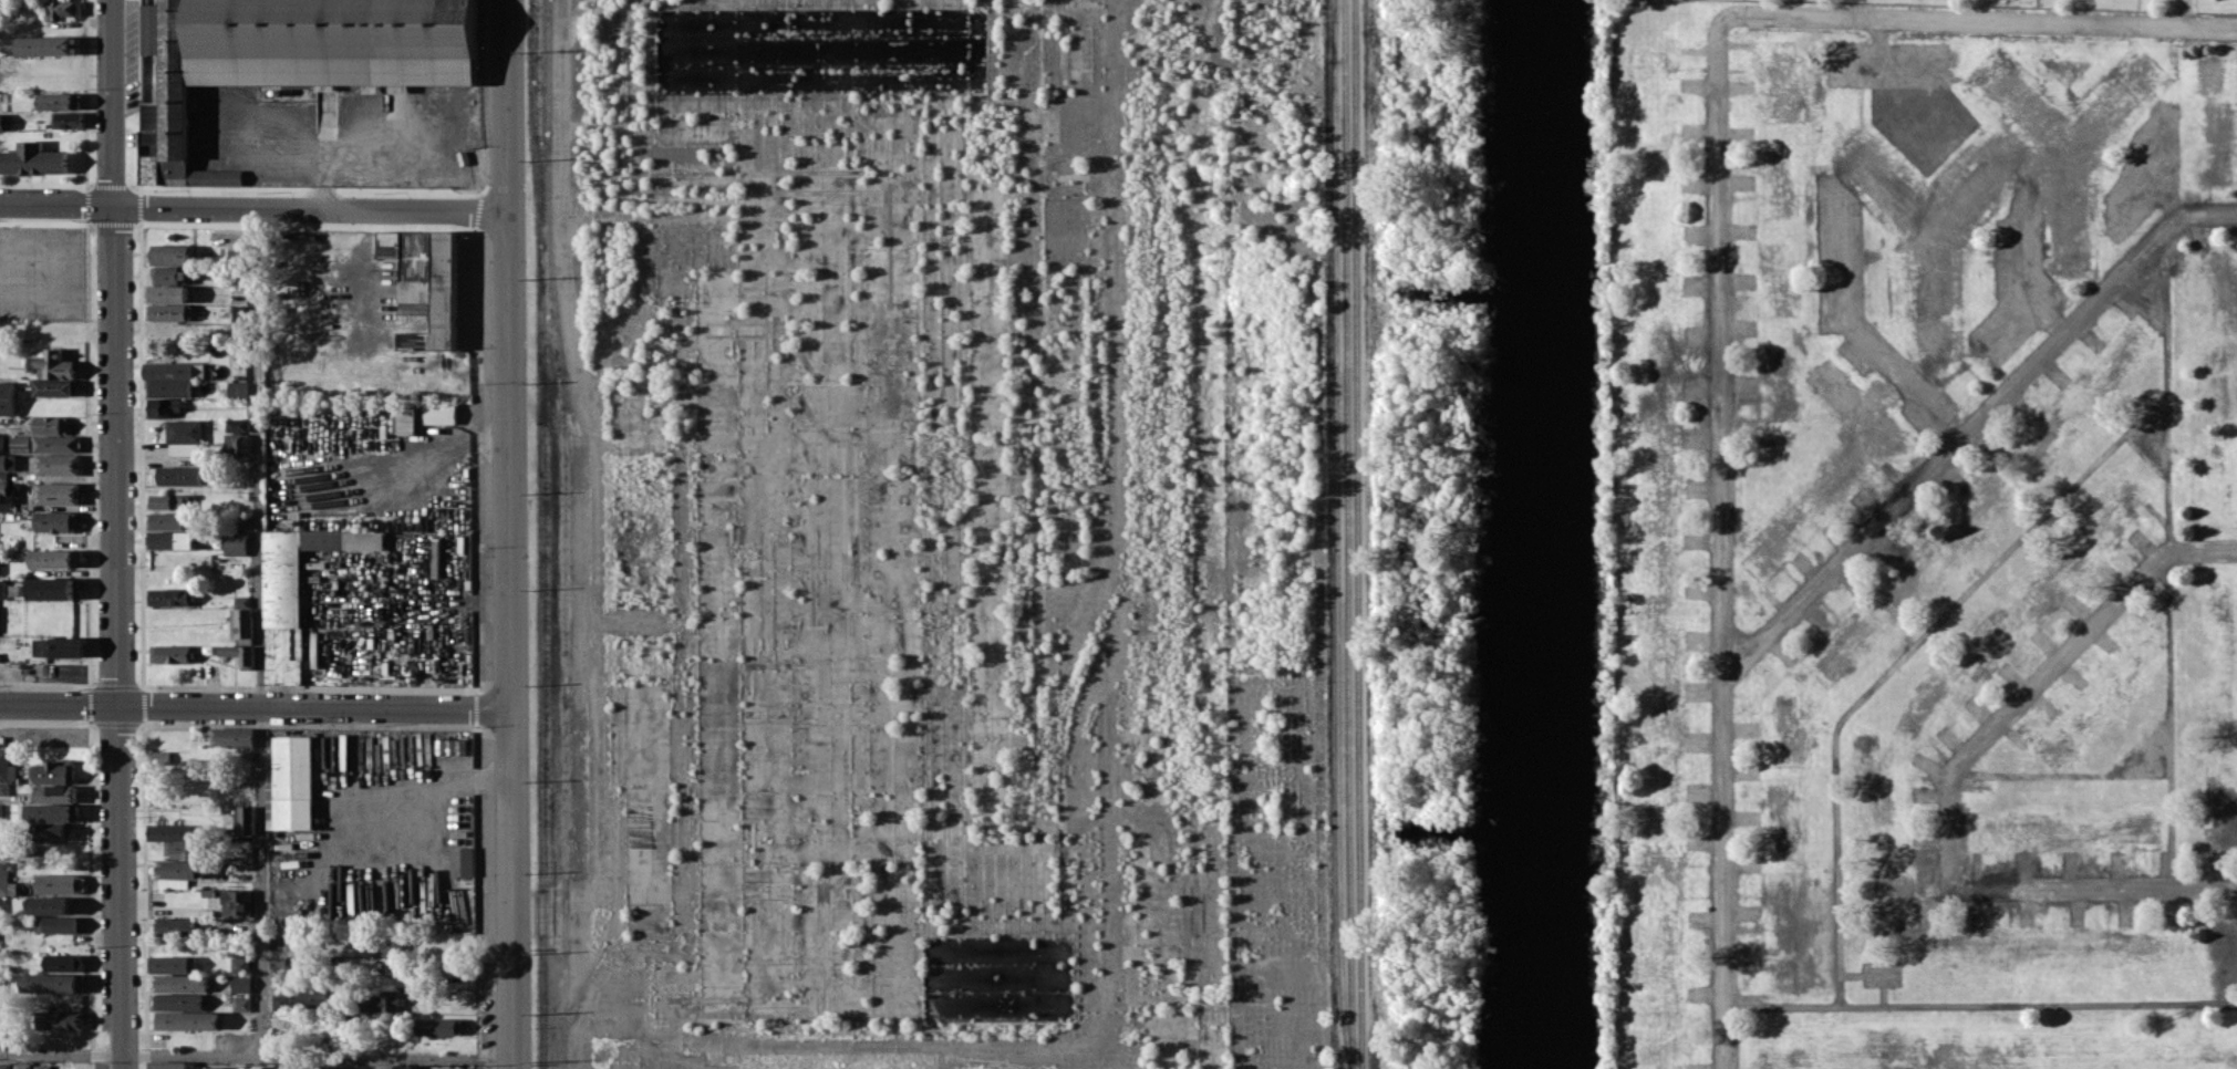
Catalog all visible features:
park: (2071, 3)
building: (61, 9)
road: (2184, 12)
park: (1654, 15)
road: (1980, 20)
railway: (1336, 30)
building: (48, 45)
building: (298, 53)
road: (1887, 63)
building: (59, 101)
building: (68, 118)
building: (1, 122)
building: (152, 122)
road: (1912, 133)
building: (33, 159)
building: (152, 168)
road: (2146, 178)
road: (2164, 196)
road: (255, 203)
building: (172, 253)
road: (2019, 271)
building: (170, 273)
building: (416, 290)
building: (167, 292)
building: (445, 305)
road: (2141, 307)
building: (416, 311)
building: (168, 312)
building: (240, 313)
road: (2003, 326)
road: (1851, 332)
road: (1720, 350)
building: (51, 365)
building: (174, 370)
building: (55, 387)
building: (169, 387)
building: (237, 387)
building: (7, 397)
building: (164, 406)
building: (439, 413)
building: (406, 417)
building: (49, 424)
building: (237, 424)
road: (1970, 427)
building: (184, 437)
building: (0, 443)
building: (20, 443)
building: (55, 444)
building: (237, 444)
road: (2148, 456)
building: (7, 461)
building: (56, 464)
building: (179, 475)
building: (58, 492)
building: (7, 497)
building: (169, 501)
building: (166, 520)
building: (54, 521)
road: (114, 533)
railway: (1357, 533)
road: (511, 534)
railway: (1337, 534)
railway: (1346, 534)
building: (170, 539)
building: (235, 543)
road: (2169, 557)
building: (54, 558)
building: (50, 588)
building: (1, 589)
building: (297, 591)
building: (169, 596)
building: (241, 622)
road: (260, 630)
building: (59, 646)
building: (170, 653)
building: (240, 654)
road: (1903, 660)
road: (2042, 677)
road: (256, 706)
building: (232, 737)
road: (2142, 744)
building: (450, 746)
building: (158, 758)
building: (6, 767)
building: (55, 771)
road: (2061, 772)
building: (292, 782)
building: (3, 788)
building: (55, 791)
building: (1, 810)
building: (52, 812)
building: (245, 819)
building: (175, 832)
building: (51, 834)
building: (462, 861)
building: (178, 863)
road: (1723, 875)
building: (6, 881)
building: (58, 882)
road: (2095, 888)
building: (236, 903)
building: (49, 904)
building: (1, 905)
building: (56, 924)
building: (175, 925)
building: (63, 961)
building: (170, 964)
building: (239, 964)
road: (385, 974)
building: (51, 983)
building: (180, 983)
building: (240, 983)
building: (312, 997)
building: (177, 1000)
building: (280, 1001)
building: (382, 1001)
building: (240, 1004)
road: (1980, 1006)
building: (56, 1019)
building: (185, 1020)
building: (438, 1026)
road: (257, 1057)
building: (21, 1065)
building: (168, 1065)
building: (4, 1066)
building: (42, 1066)
building: (271, 1067)
building: (349, 1067)
building: (393, 1067)
building: (213, 1068)
building: (442, 1068)
building: (466, 1068)

